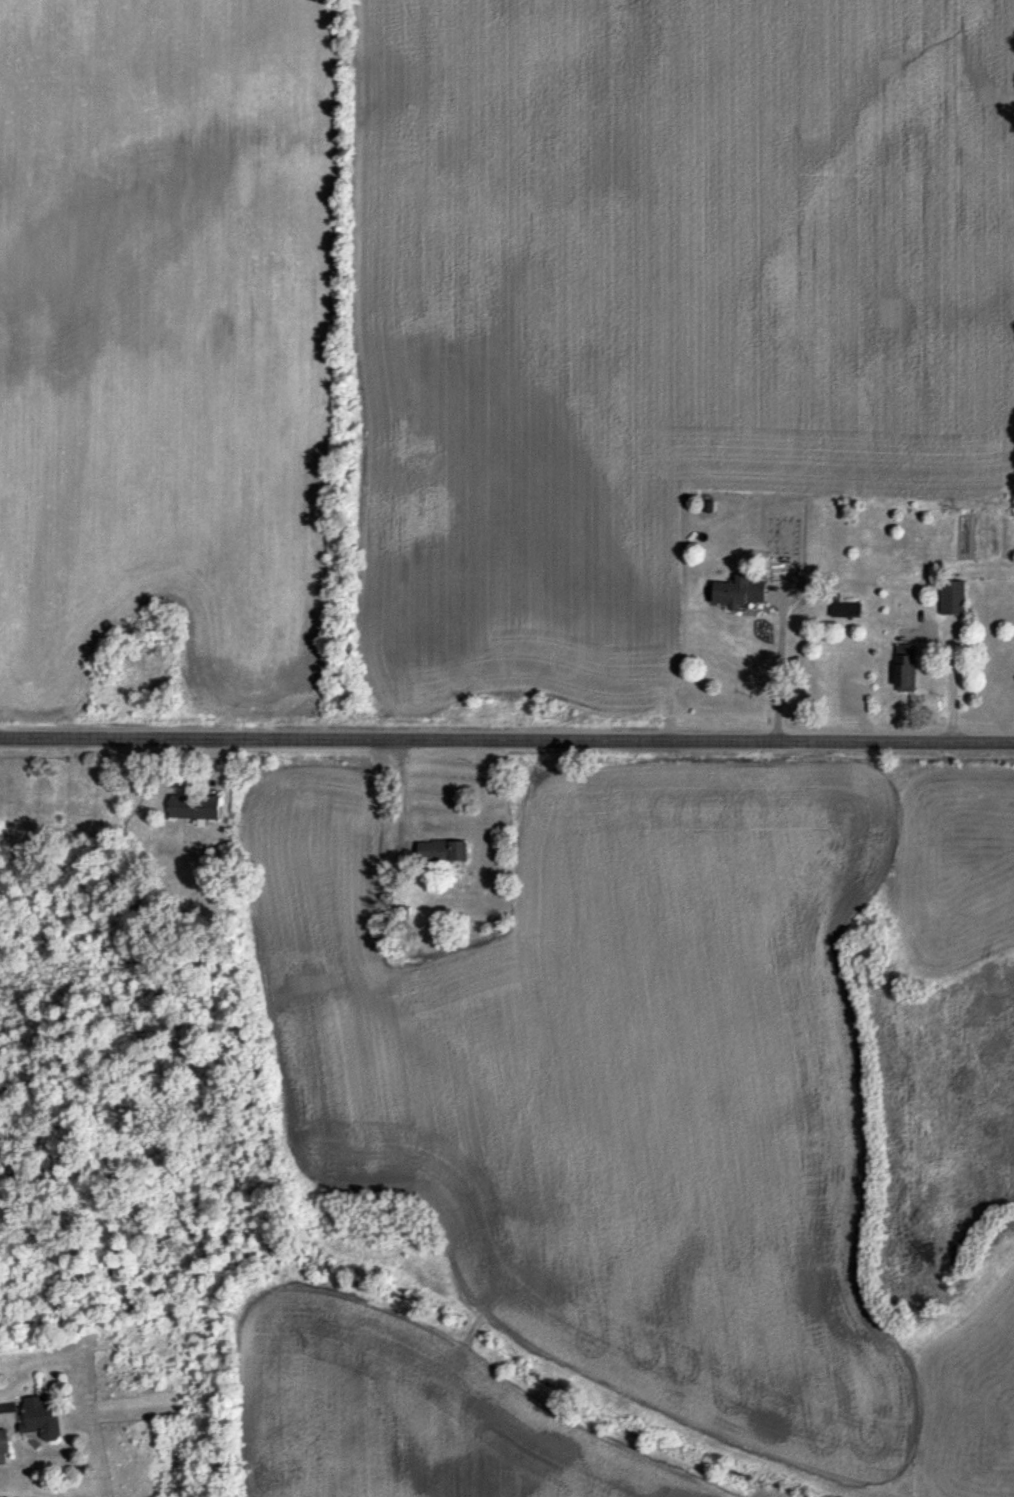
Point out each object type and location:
airport: (177, 350)
building: (739, 591)
building: (952, 597)
building: (845, 609)
building: (906, 667)
road: (778, 670)
road: (951, 682)
road: (506, 742)
road: (400, 795)
building: (194, 806)
building: (442, 849)
building: (41, 1418)
building: (4, 1440)

